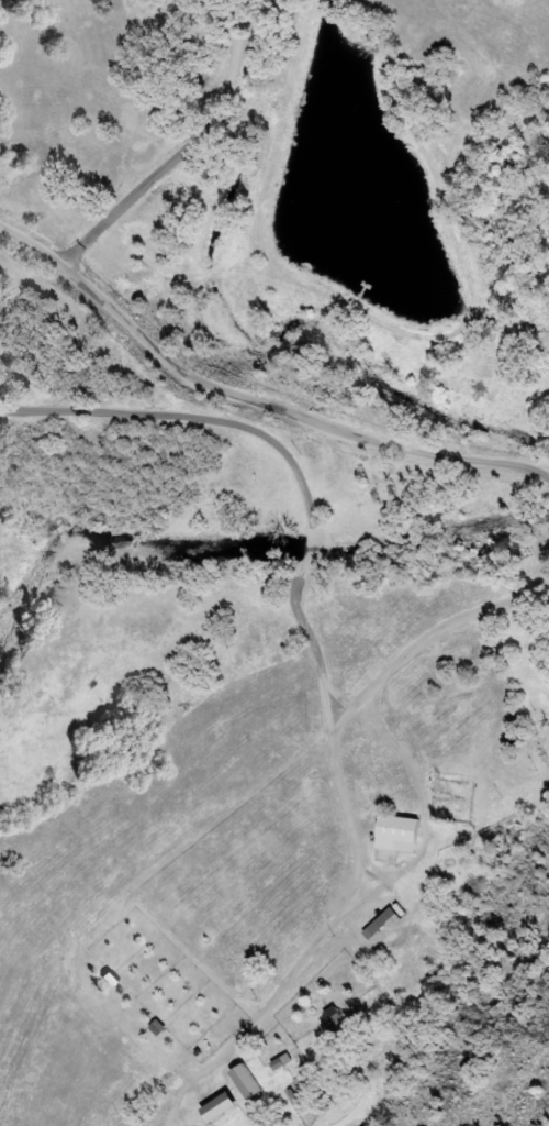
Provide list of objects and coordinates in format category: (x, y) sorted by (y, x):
road: (254, 399)
building: (393, 835)
building: (380, 924)
building: (244, 1081)
building: (216, 1108)

